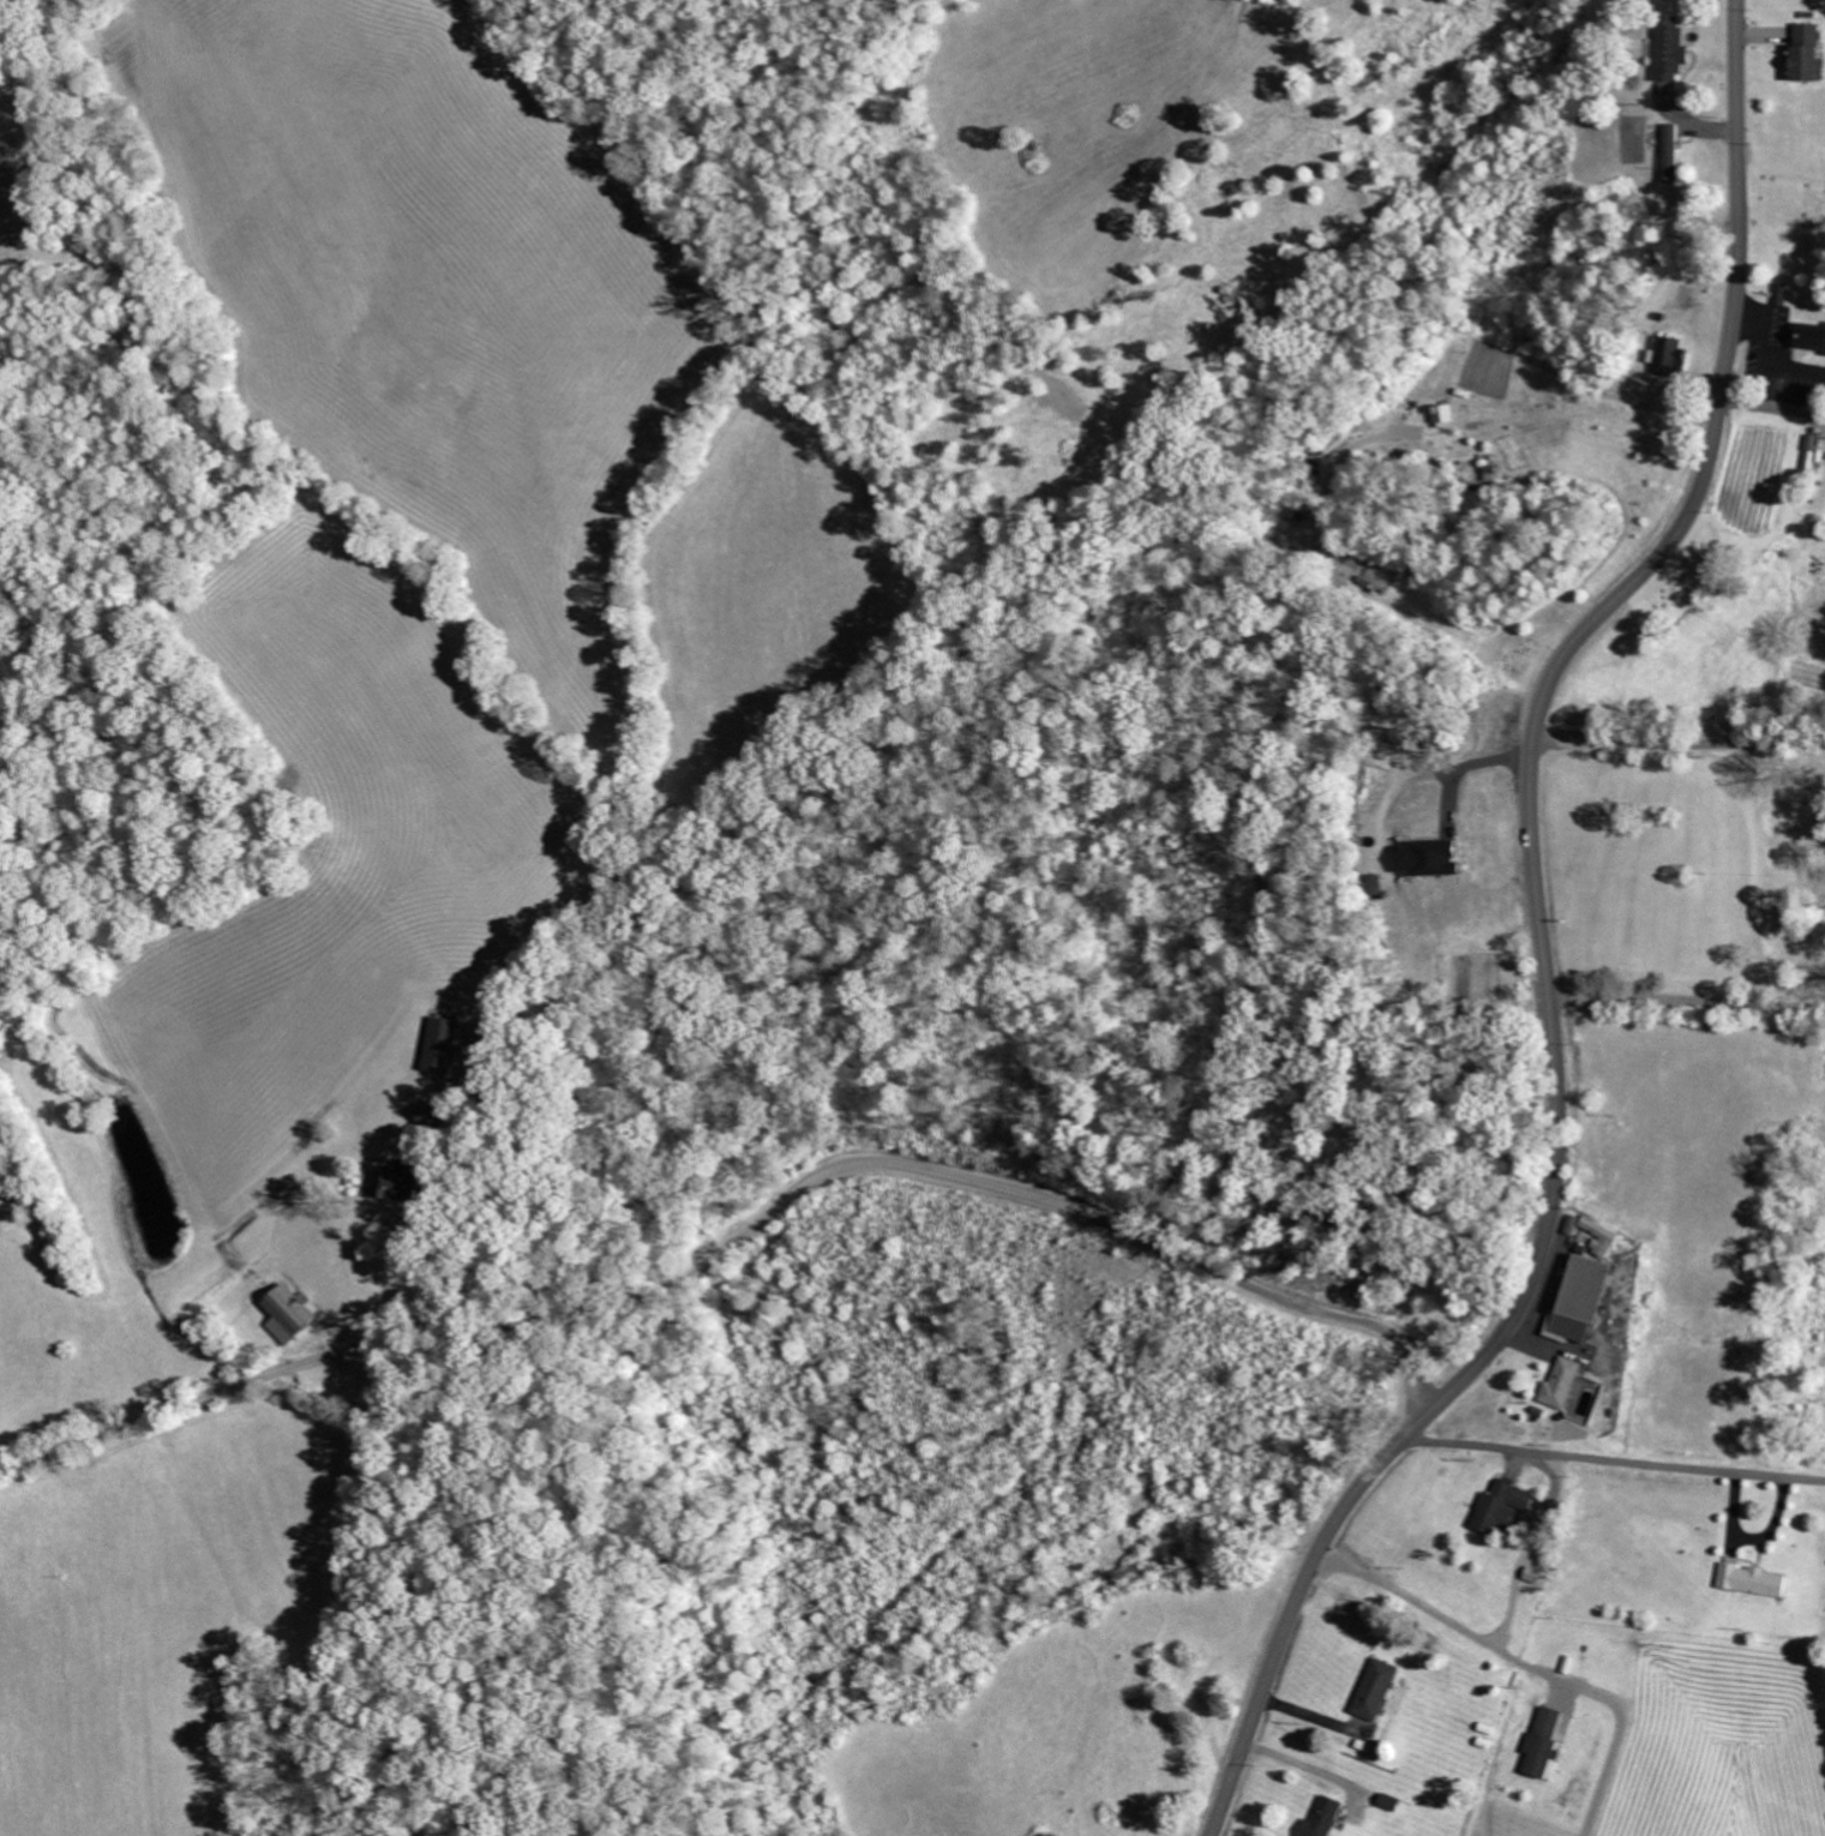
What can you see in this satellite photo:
building: (1811, 53)
building: (1674, 54)
building: (1783, 293)
building: (1812, 336)
building: (1674, 355)
road: (1772, 408)
building: (1448, 413)
building: (1812, 448)
road: (1679, 746)
building: (1434, 858)
road: (1543, 938)
road: (1687, 1004)
building: (448, 1046)
building: (436, 1115)
building: (2, 1183)
road: (742, 1229)
building: (1611, 1235)
building: (1589, 1298)
building: (292, 1314)
building: (1565, 1384)
road: (1615, 1463)
building: (1507, 1507)
building: (1752, 1580)
building: (1379, 1690)
building: (1545, 1742)
building: (1325, 1818)

